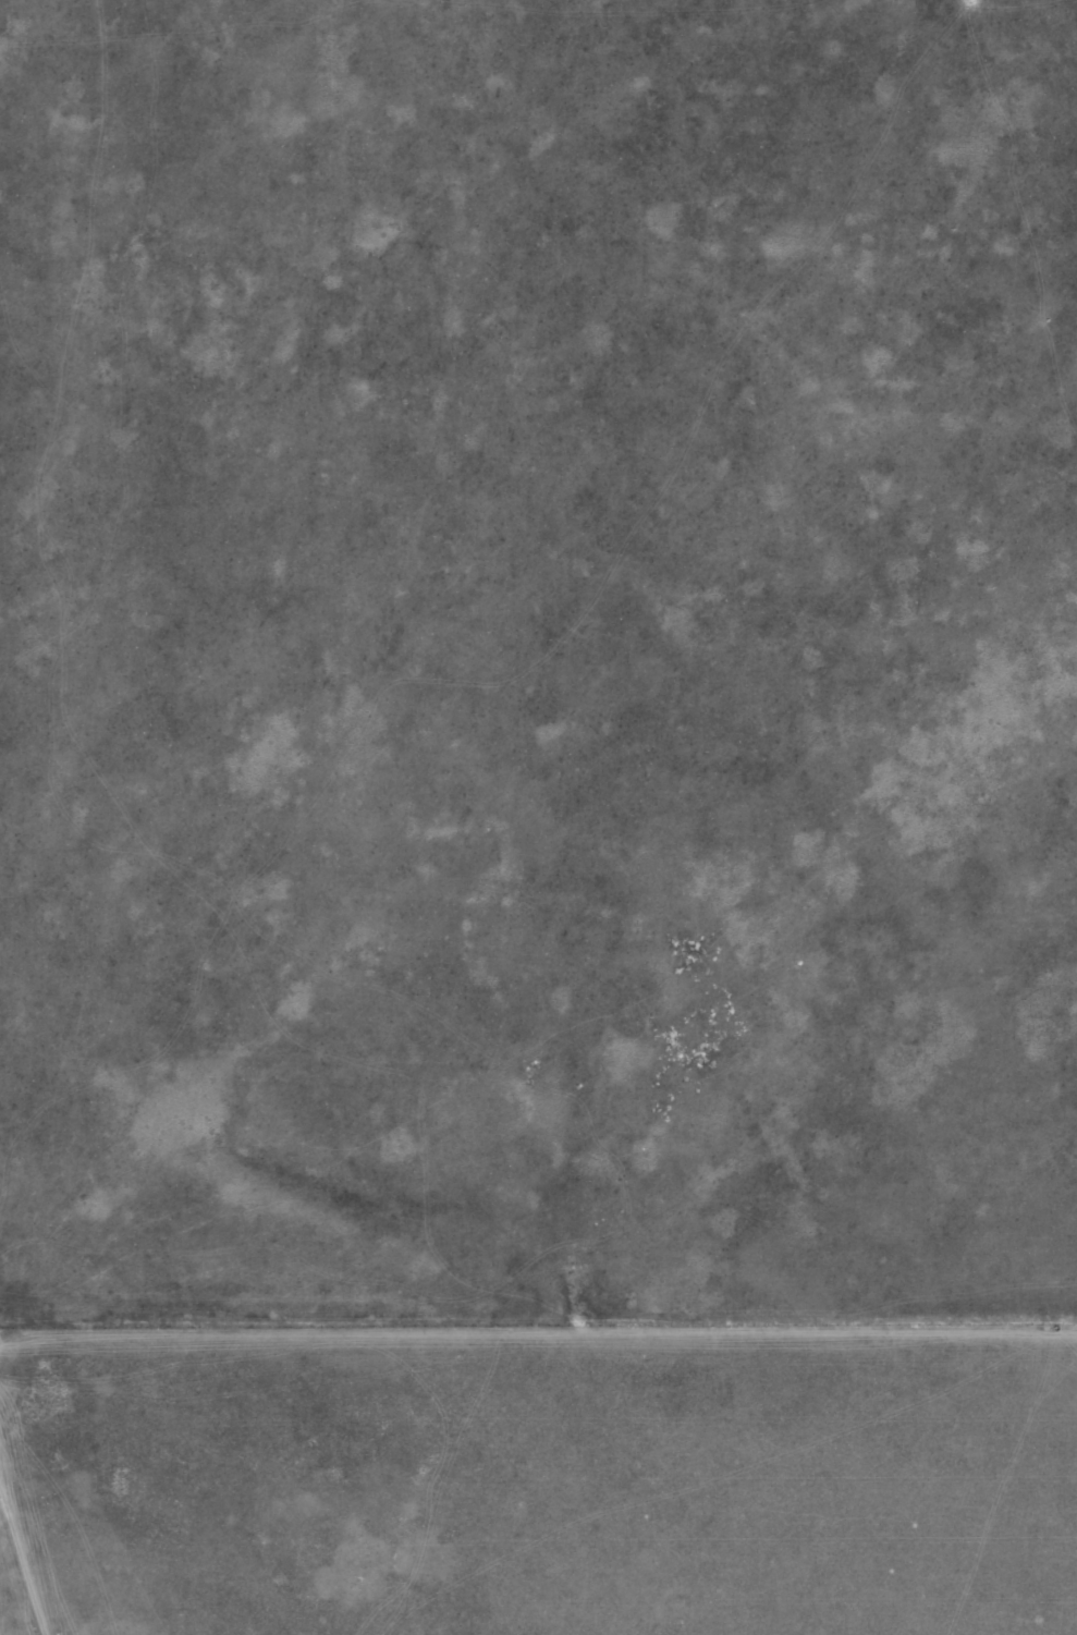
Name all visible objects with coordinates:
road: (2, 1624)

